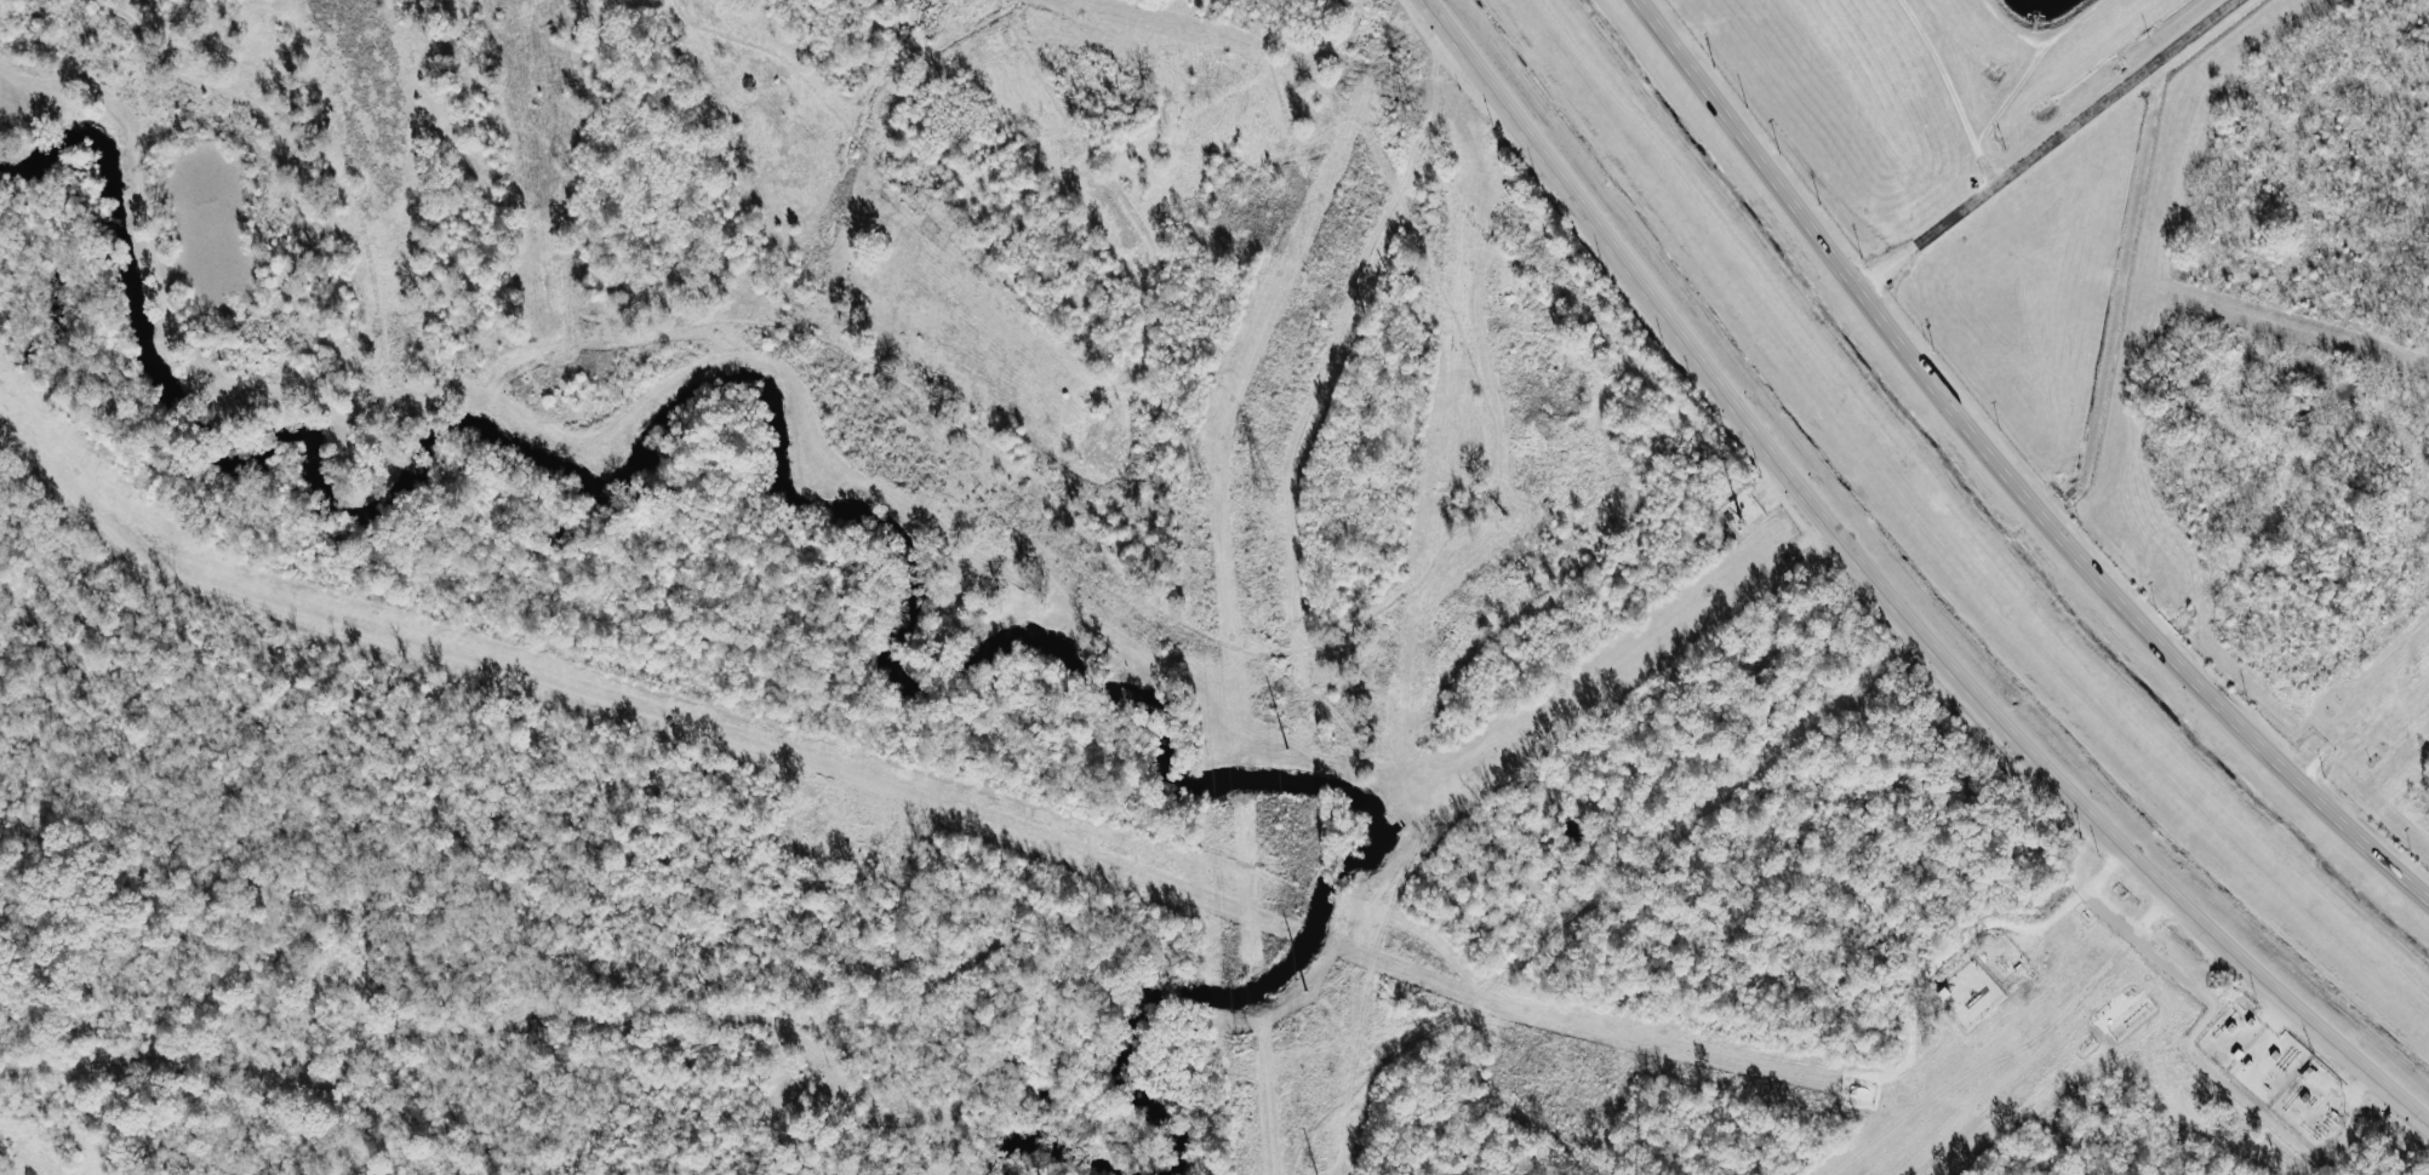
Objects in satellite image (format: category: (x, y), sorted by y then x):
power tower: (1385, 6)
road: (1949, 90)
road: (2045, 143)
road: (2005, 475)
power tower: (1198, 483)
power tower: (1263, 494)
river: (870, 551)
road: (1890, 591)
road: (1898, 649)
road: (1621, 870)
road: (1968, 930)
power tower: (1242, 1041)
road: (2351, 1117)

